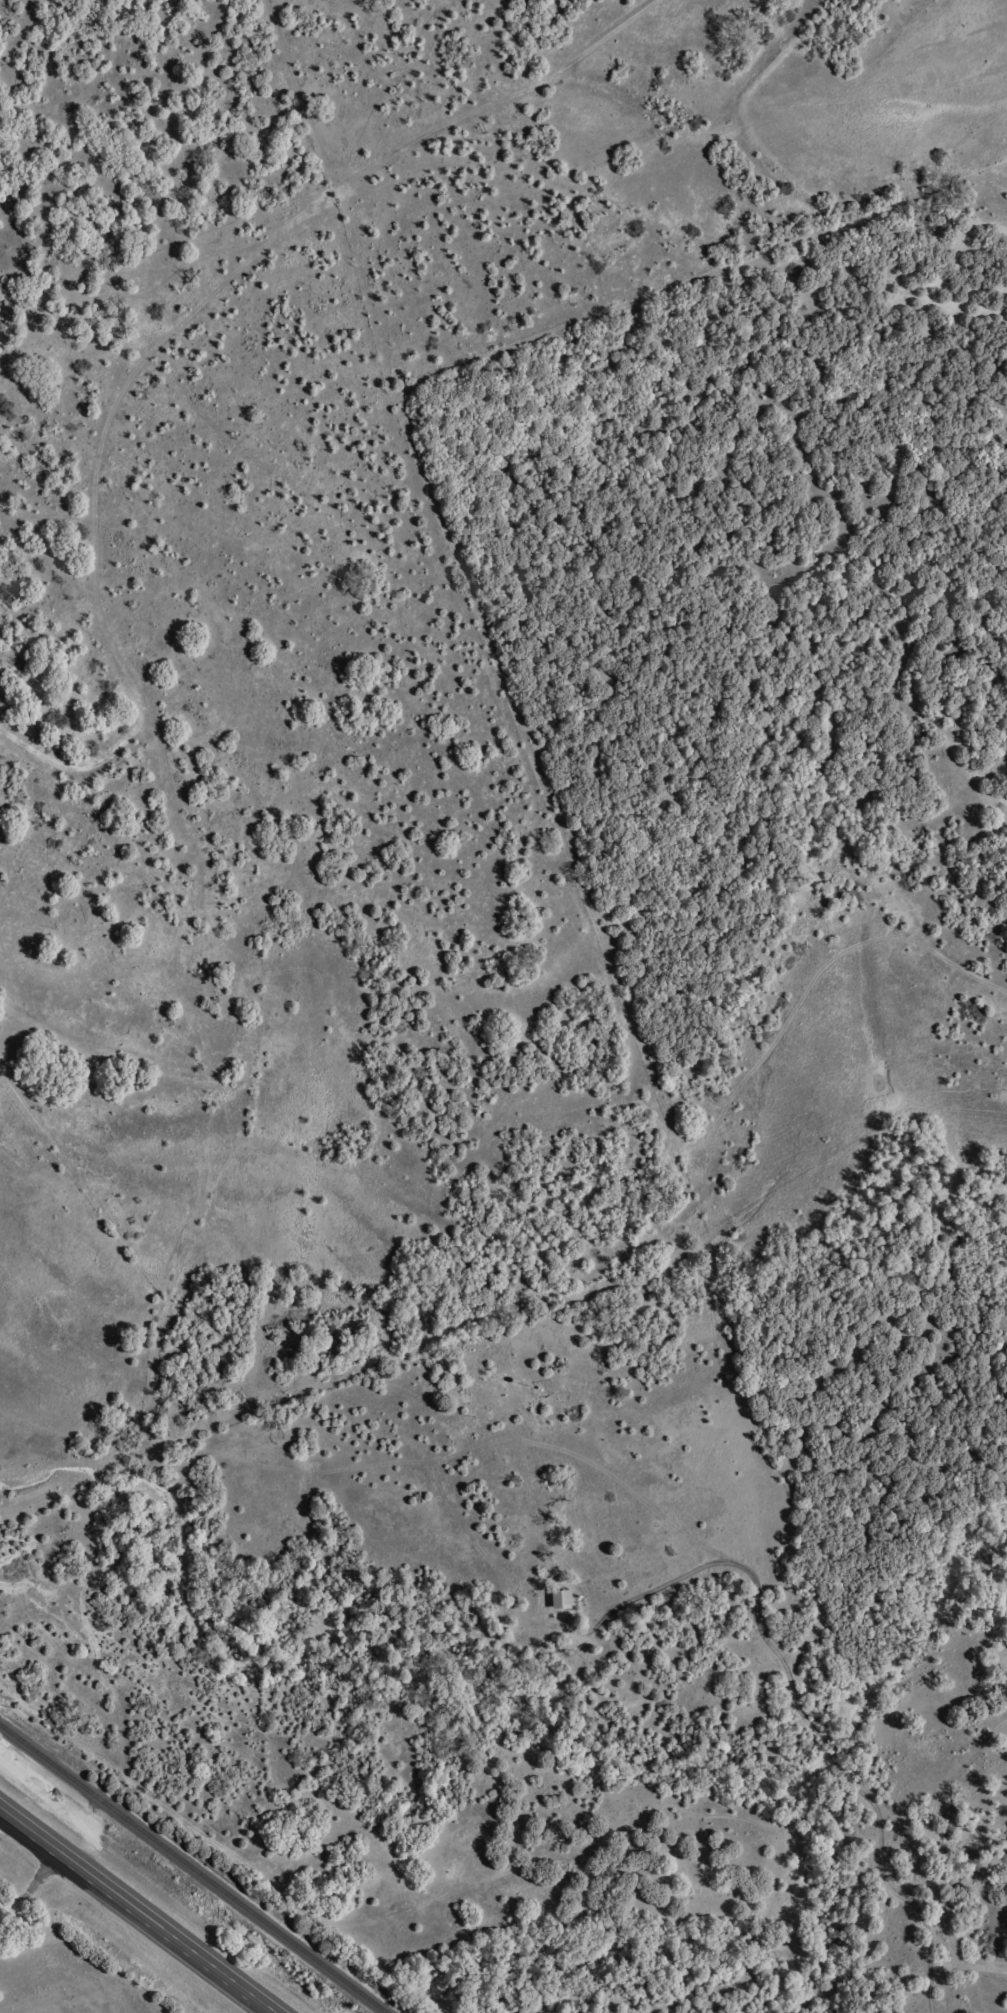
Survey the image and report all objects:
building: (561, 1598)
railway: (193, 1869)
road: (141, 1908)

